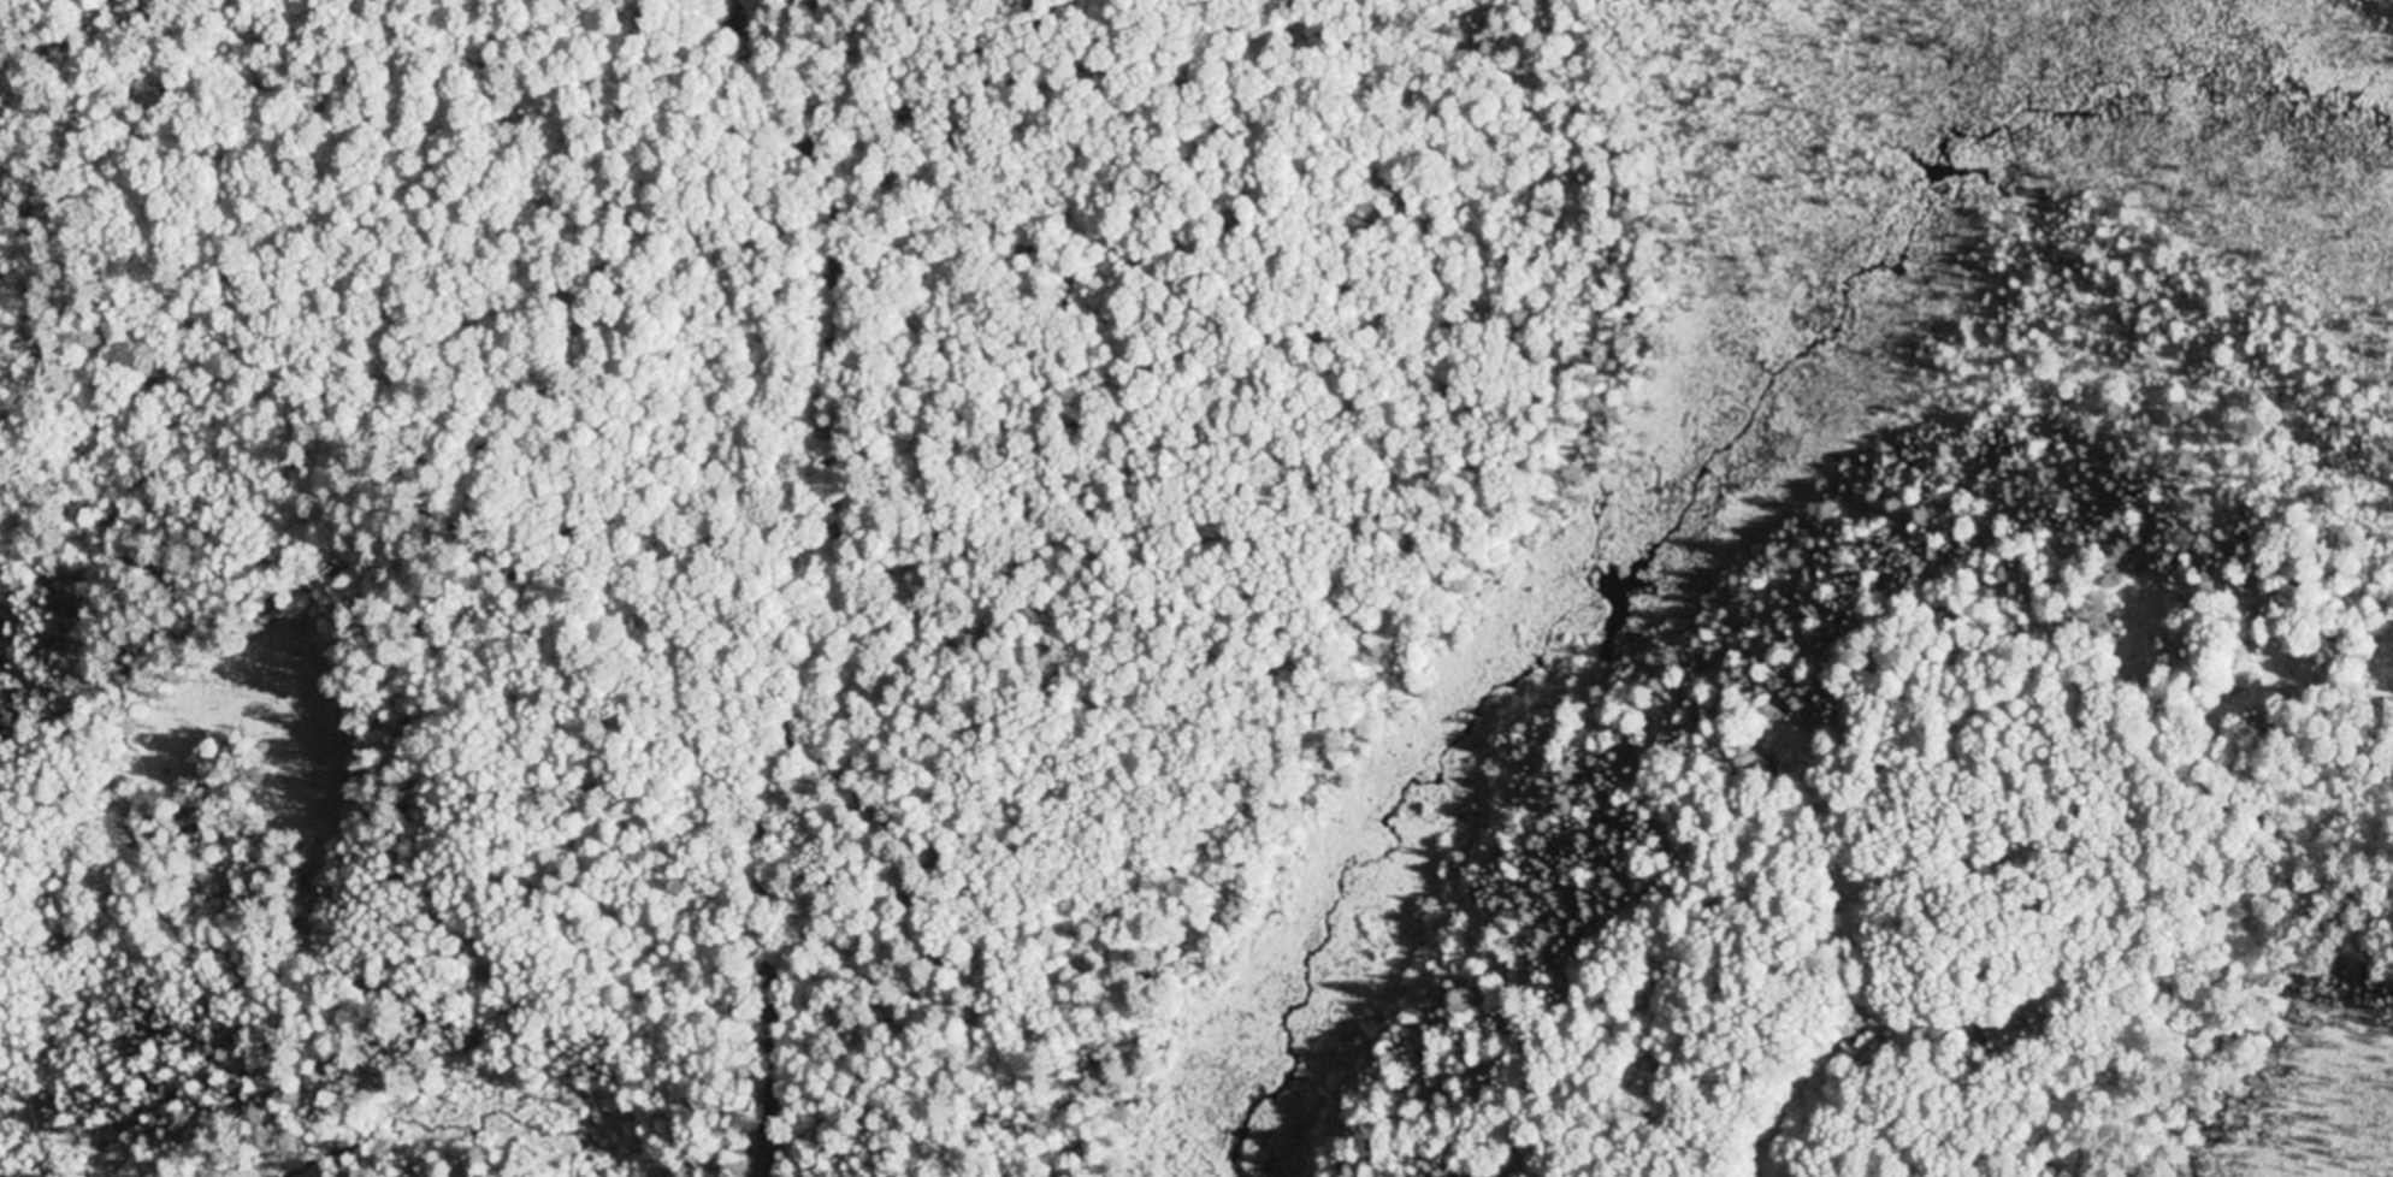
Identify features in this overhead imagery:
road: (847, 586)
road: (409, 971)

